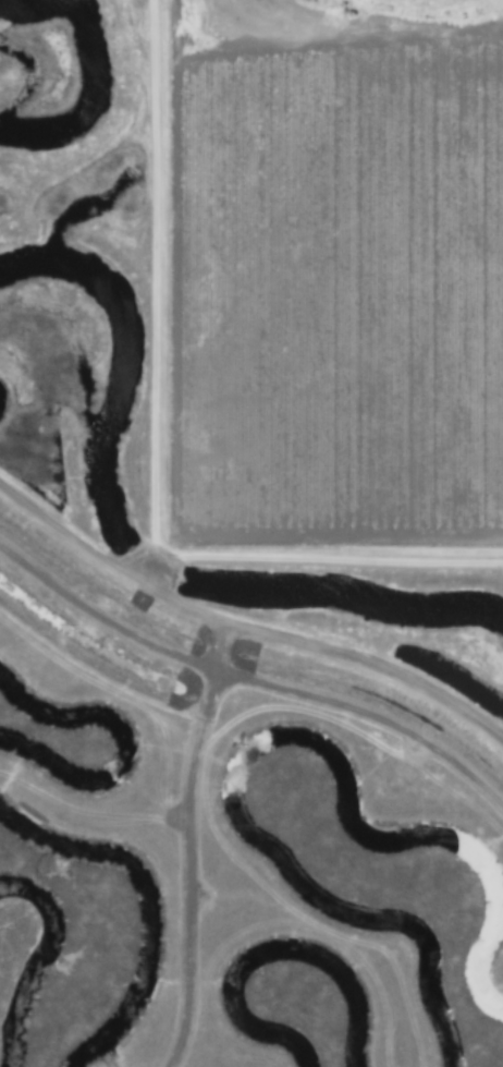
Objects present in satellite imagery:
crop: (336, 294)

